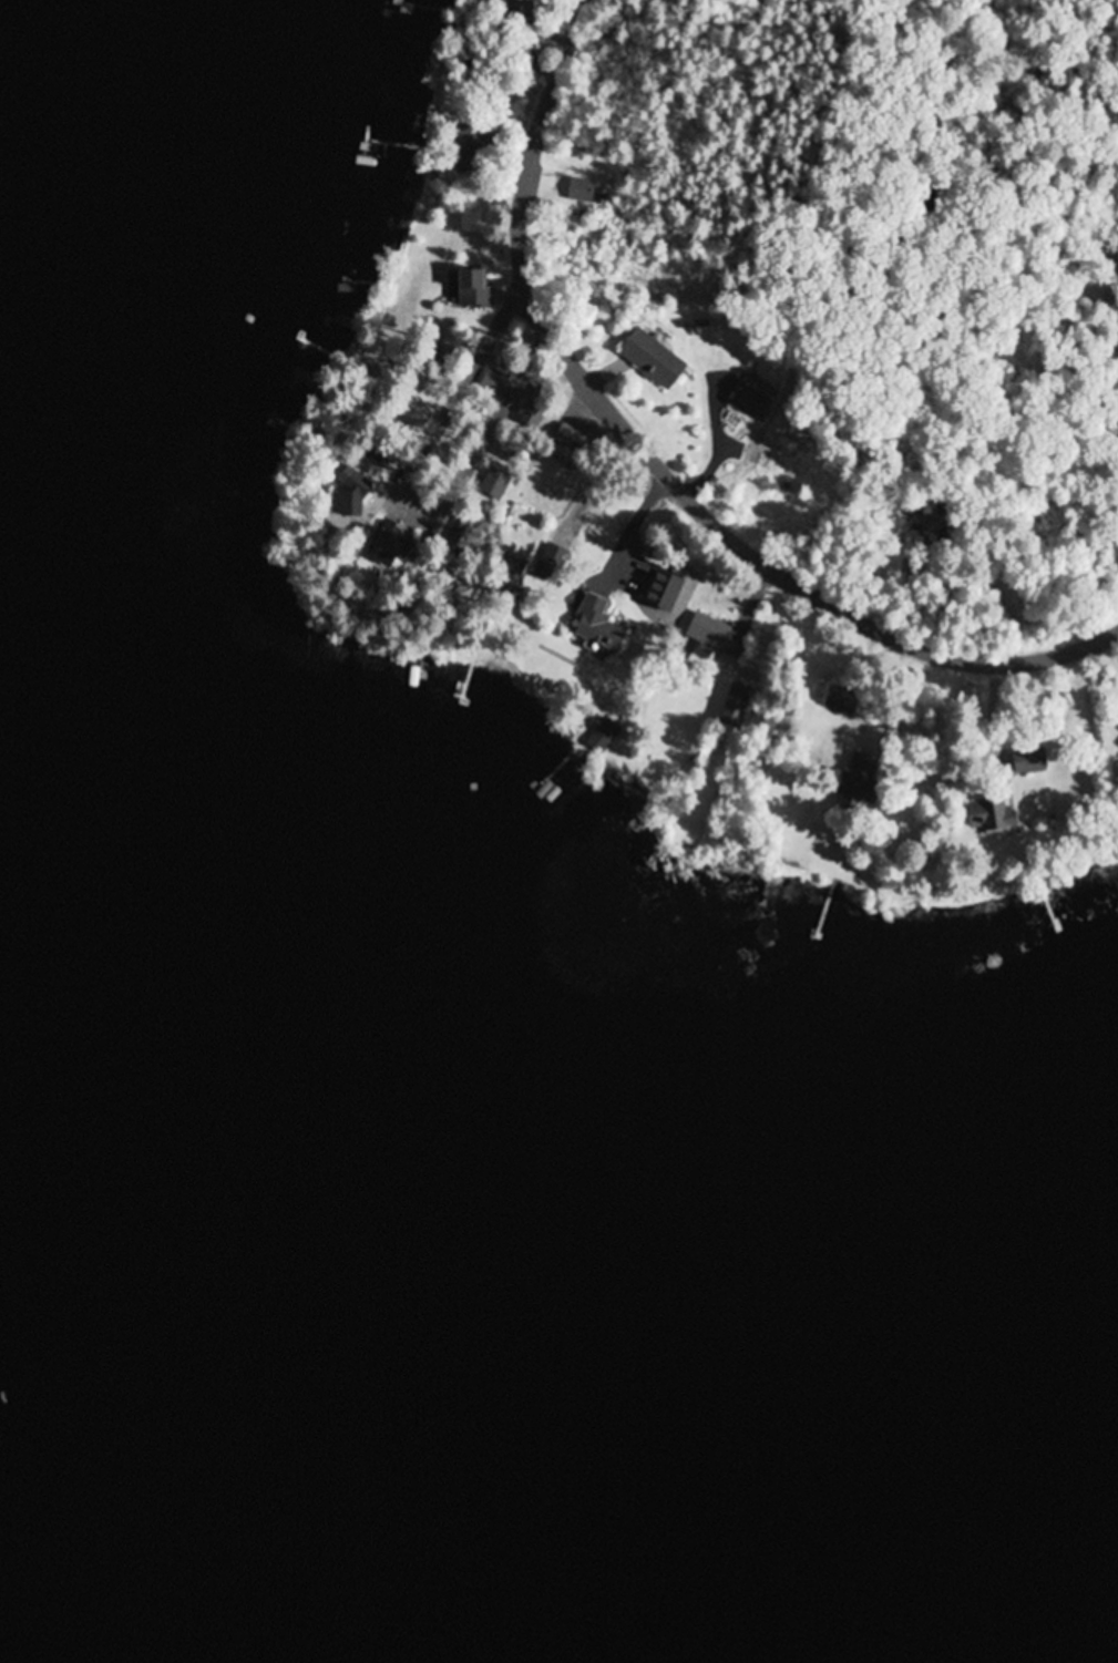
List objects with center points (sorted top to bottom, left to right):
building: (472, 140)
building: (581, 192)
building: (606, 198)
building: (474, 289)
building: (653, 360)
building: (498, 379)
building: (749, 401)
building: (419, 413)
building: (533, 414)
road: (657, 469)
building: (394, 543)
building: (553, 567)
building: (511, 582)
building: (599, 626)
building: (718, 638)
building: (843, 701)
building: (737, 707)
building: (599, 741)
building: (1029, 762)
building: (858, 781)
building: (992, 817)

